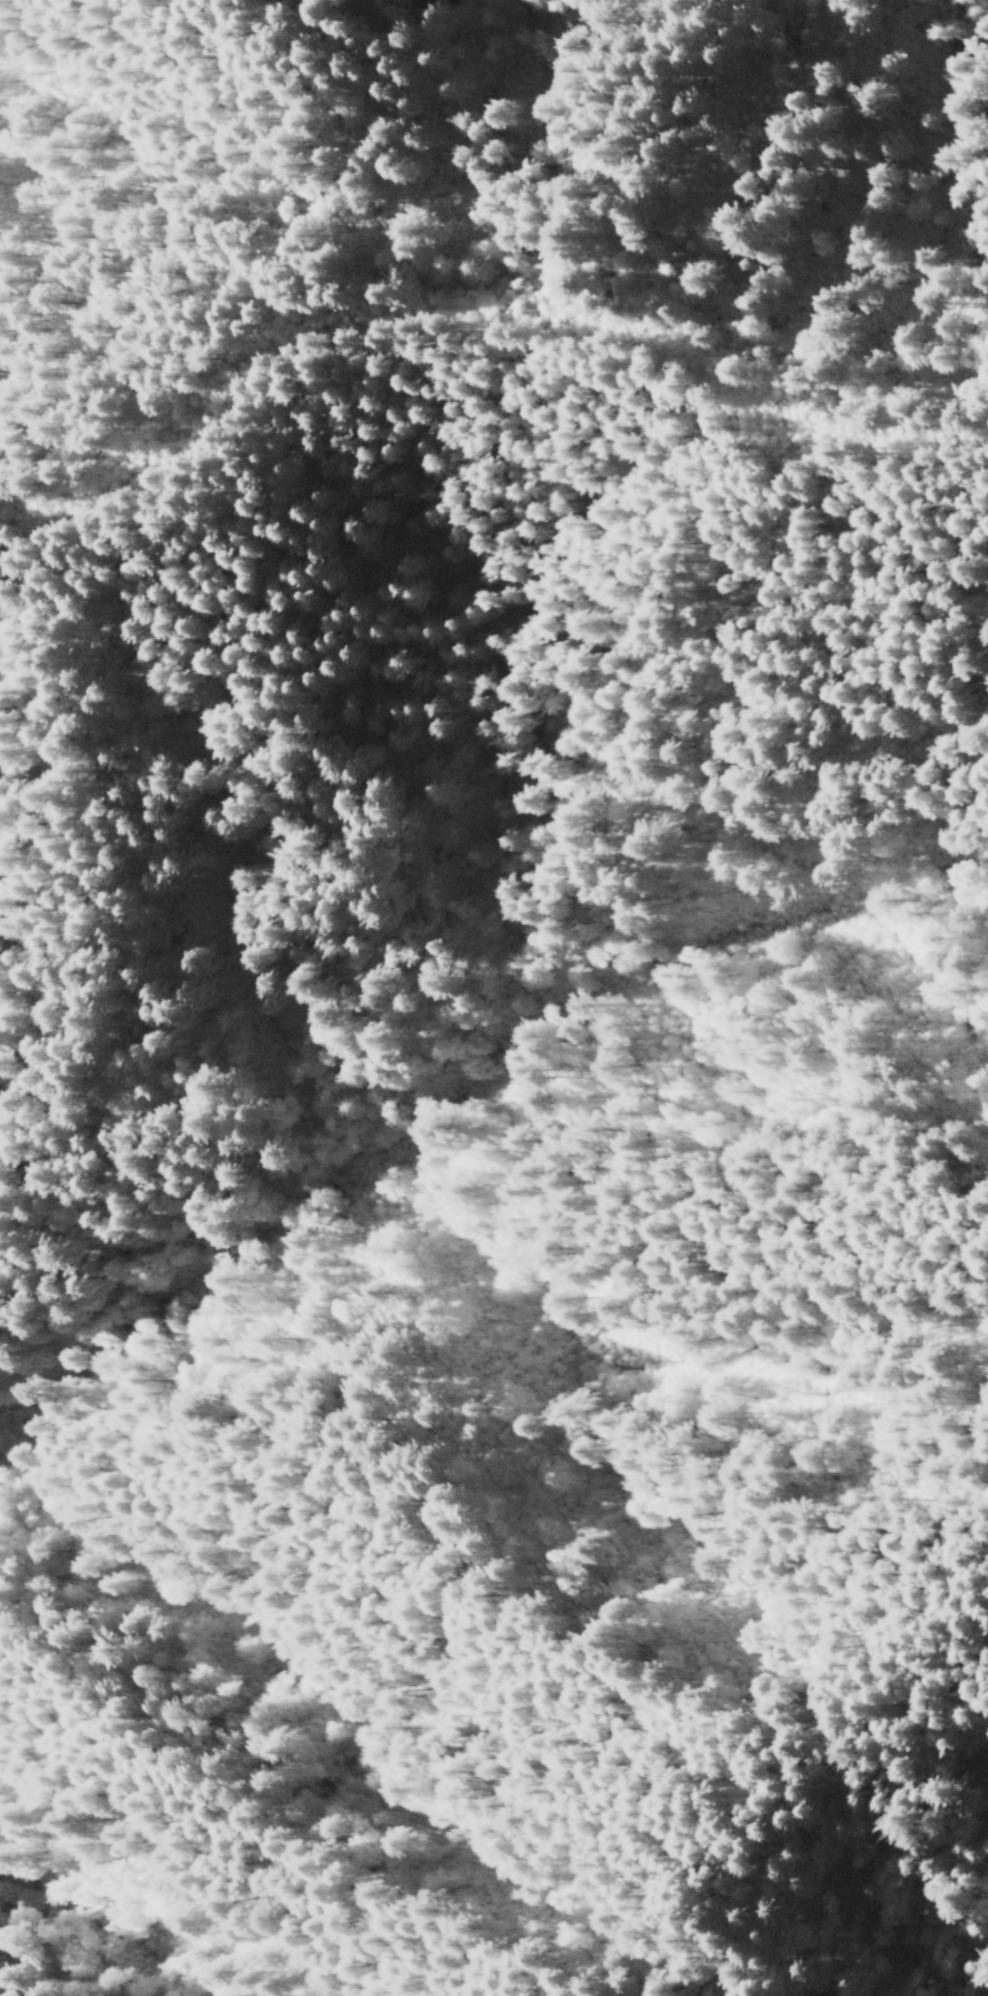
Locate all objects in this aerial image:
road: (480, 303)

